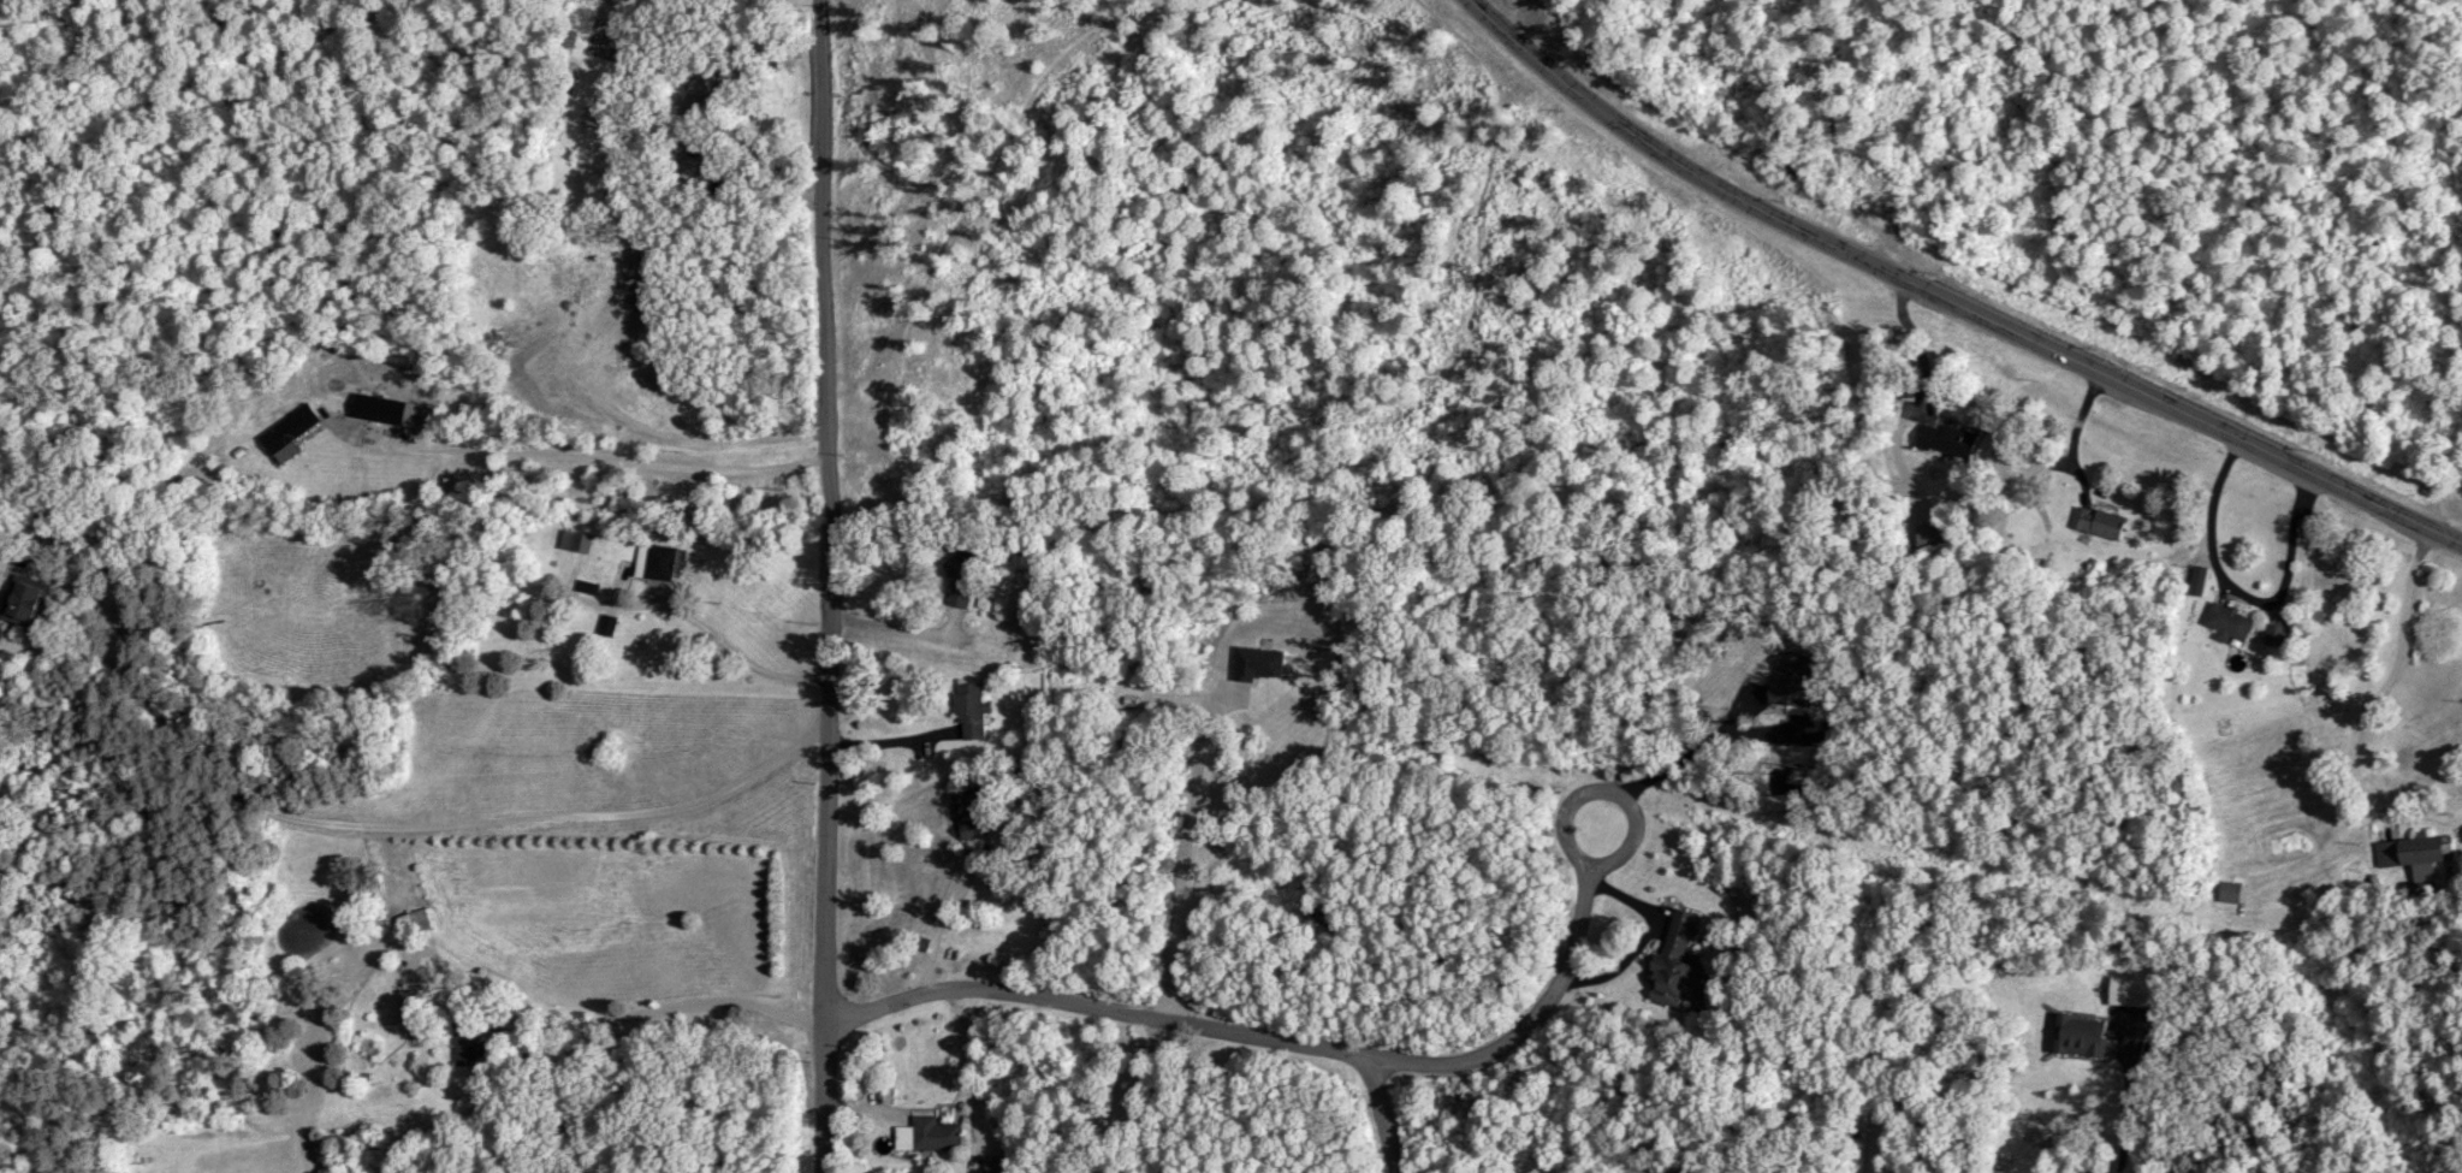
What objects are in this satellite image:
building: (580, 295)
road: (1942, 304)
building: (544, 380)
building: (378, 408)
building: (287, 427)
road: (2081, 432)
building: (1944, 438)
road: (609, 461)
building: (2096, 522)
building: (1928, 535)
building: (575, 541)
building: (655, 562)
building: (957, 581)
road: (823, 586)
road: (2252, 593)
building: (23, 600)
building: (2227, 623)
building: (605, 624)
building: (2273, 635)
road: (720, 639)
road: (2395, 671)
building: (968, 710)
road: (1691, 753)
building: (967, 814)
road: (422, 828)
building: (2408, 849)
road: (1196, 867)
building: (2227, 891)
road: (944, 923)
building: (1672, 952)
building: (2124, 989)
building: (409, 1003)
road: (643, 1017)
building: (2077, 1033)
building: (467, 1039)
road: (1384, 1056)
road: (1390, 1114)
building: (933, 1133)

